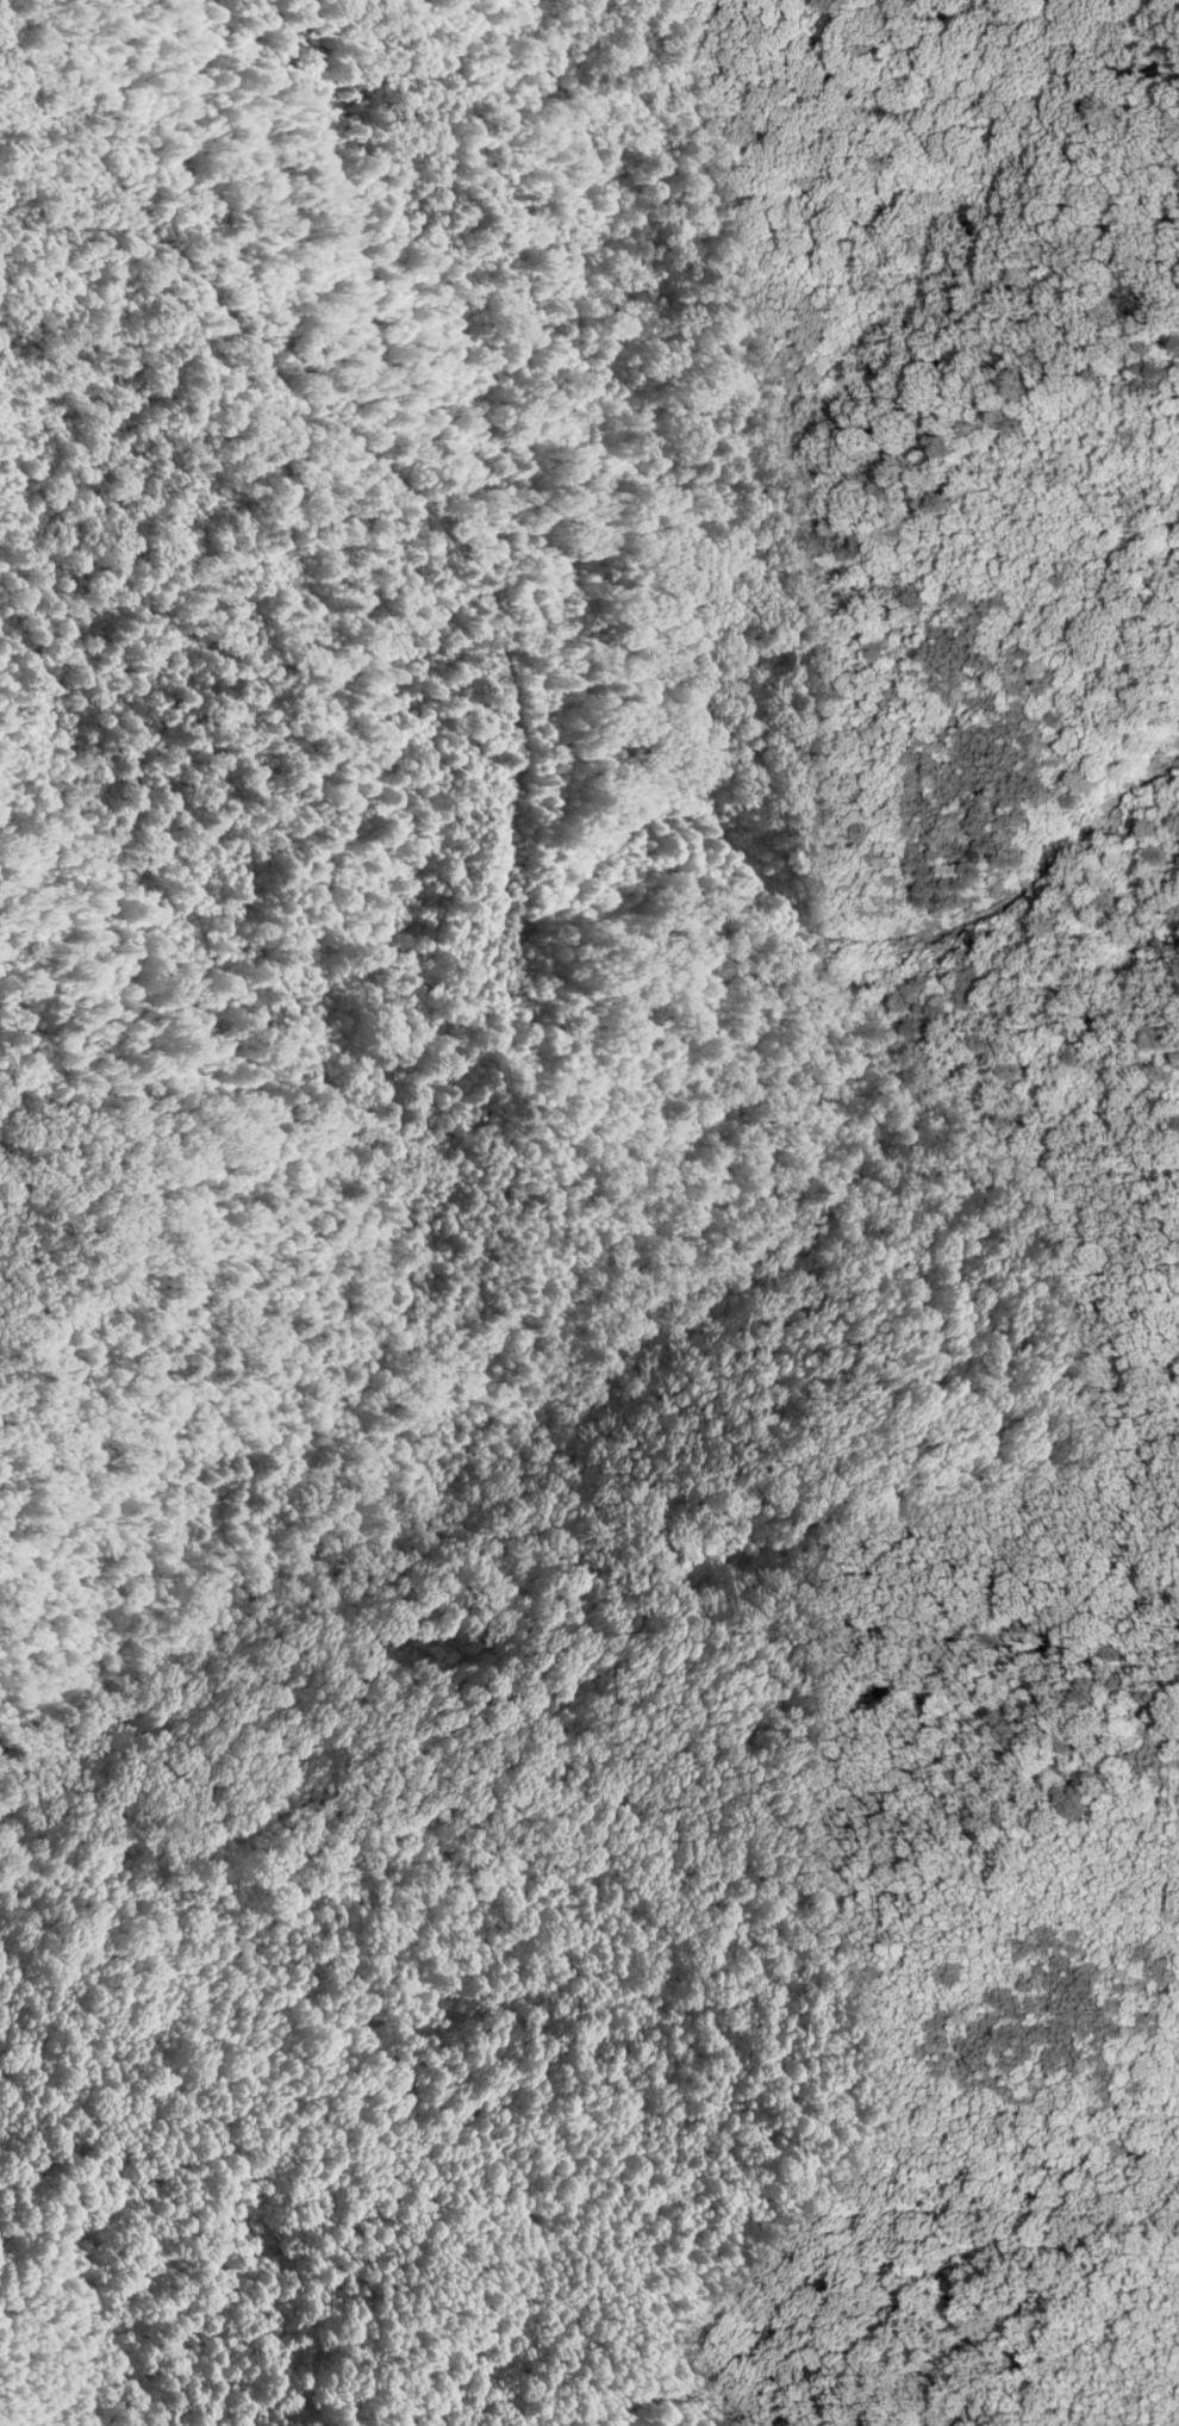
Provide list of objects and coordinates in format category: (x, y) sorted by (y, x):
park: (462, 571)

